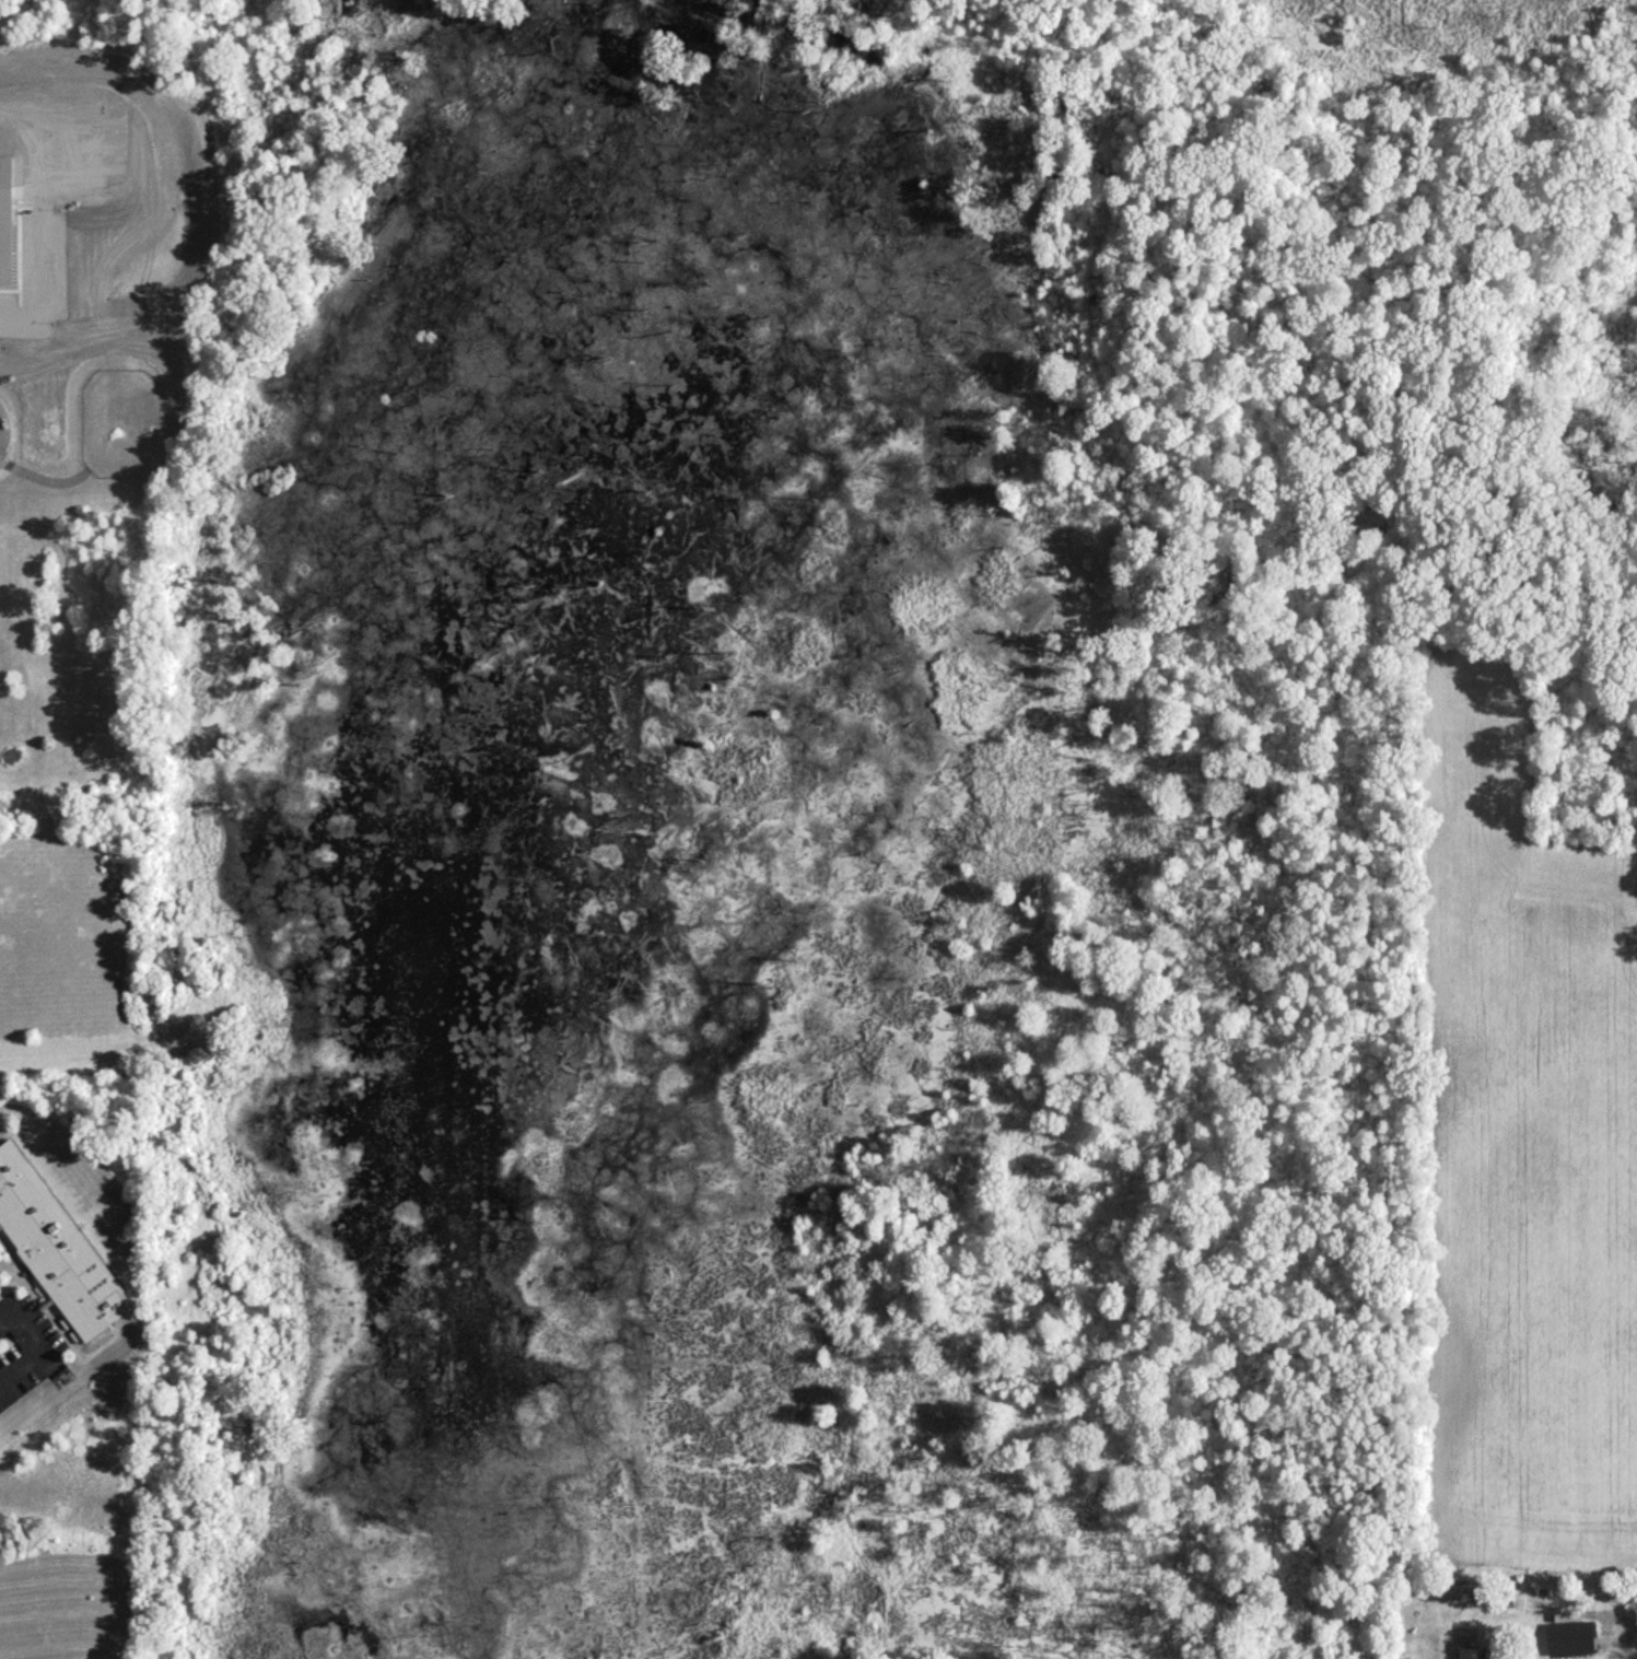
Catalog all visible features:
building: (56, 1248)
building: (0, 1255)
road: (39, 1345)
building: (1458, 1593)
building: (1466, 1633)
building: (1569, 1637)
road: (1622, 1644)
building: (1466, 1652)
building: (1487, 1652)

